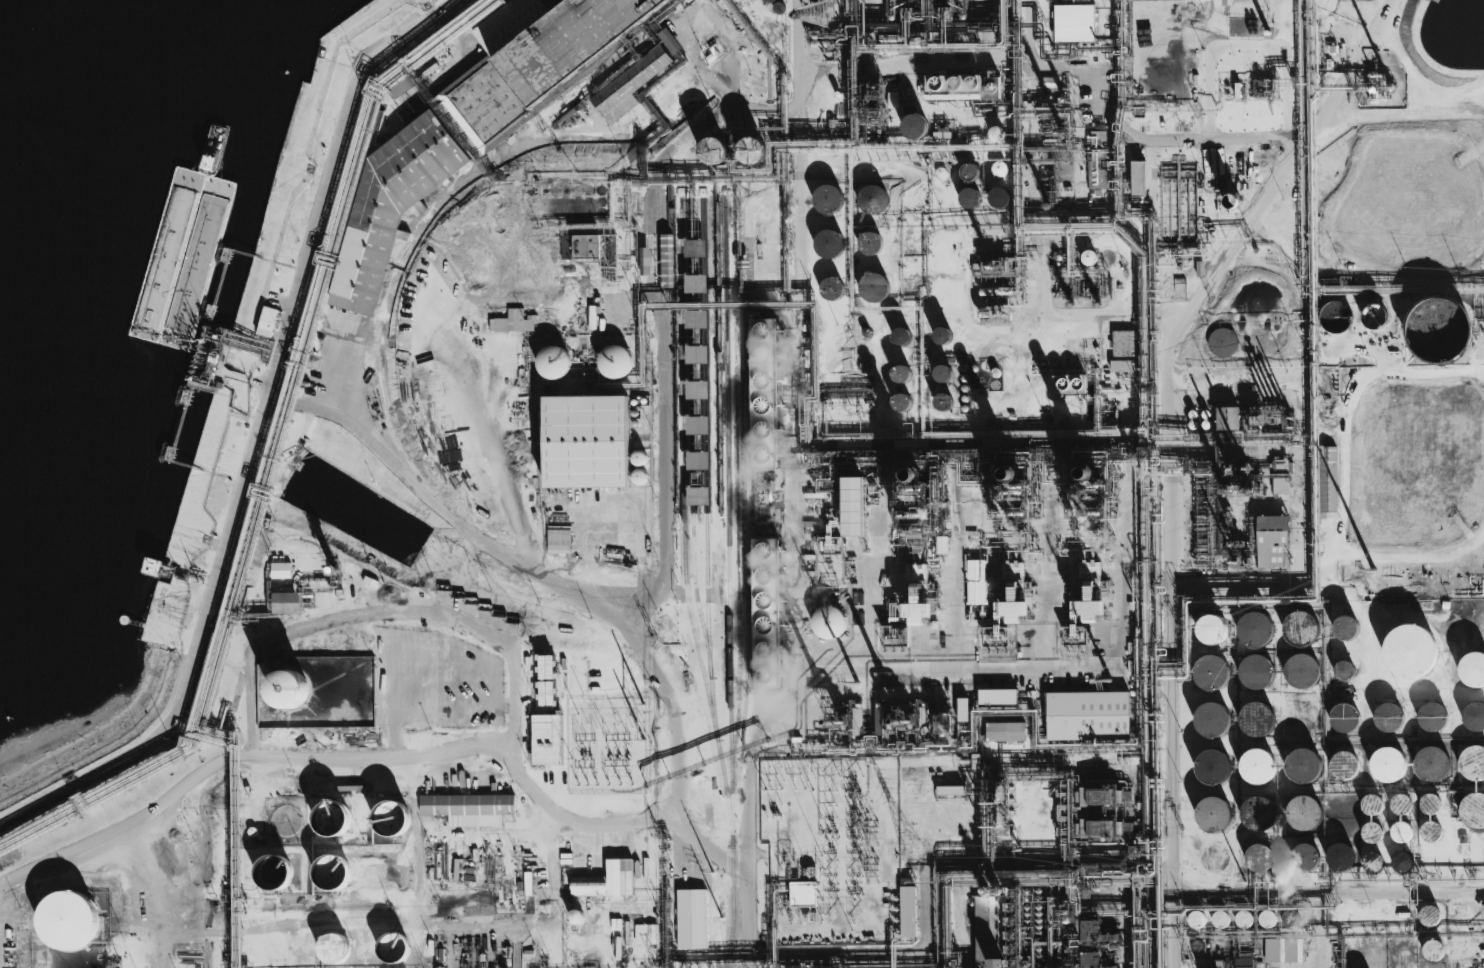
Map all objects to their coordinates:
building: (1074, 22)
building: (669, 40)
building: (537, 56)
river: (91, 77)
building: (632, 84)
building: (954, 87)
road: (1402, 104)
building: (915, 126)
building: (996, 134)
building: (1098, 140)
building: (714, 150)
building: (752, 150)
building: (999, 168)
building: (971, 172)
building: (1138, 178)
building: (827, 199)
building: (872, 199)
building: (392, 200)
building: (871, 243)
building: (829, 244)
building: (579, 246)
building: (1088, 257)
building: (645, 261)
building: (696, 283)
building: (873, 287)
road: (795, 297)
building: (362, 308)
building: (1376, 317)
building: (697, 319)
building: (267, 321)
building: (513, 322)
building: (1222, 342)
railway: (381, 347)
road: (662, 351)
building: (1124, 351)
building: (697, 354)
building: (615, 361)
building: (553, 362)
building: (1070, 384)
building: (697, 389)
building: (764, 391)
building: (902, 401)
building: (1228, 418)
building: (698, 425)
railway: (705, 435)
building: (586, 441)
road: (1167, 450)
road: (397, 460)
building: (698, 460)
railway: (691, 466)
chimney: (1089, 467)
chimney: (1012, 469)
chimney: (914, 470)
building: (1280, 477)
building: (1329, 481)
building: (699, 496)
building: (854, 506)
railway: (727, 518)
railway: (684, 520)
building: (559, 541)
building: (1273, 541)
building: (281, 570)
power tower: (1372, 572)
power plant: (930, 578)
road: (814, 581)
building: (976, 582)
building: (1090, 590)
building: (286, 603)
road: (223, 610)
building: (767, 610)
building: (1014, 610)
building: (916, 613)
building: (828, 622)
building: (1302, 627)
building: (1345, 627)
building: (1212, 629)
building: (1255, 629)
building: (1410, 650)
building: (546, 666)
building: (1301, 670)
building: (1472, 670)
building: (1211, 672)
building: (1255, 672)
power tower: (1110, 680)
power tower: (855, 682)
building: (288, 689)
building: (997, 696)
power tower: (643, 704)
building: (1088, 716)
building: (1474, 716)
building: (1344, 717)
building: (1432, 717)
chimney: (831, 719)
chimney: (900, 719)
building: (1212, 719)
building: (1256, 719)
building: (1005, 731)
building: (547, 739)
power substation: (608, 745)
road: (339, 756)
building: (1472, 762)
building: (1433, 763)
building: (1343, 764)
building: (1387, 764)
building: (1303, 765)
building: (1213, 766)
building: (1257, 766)
road: (836, 775)
road: (674, 802)
building: (1372, 804)
building: (1400, 804)
building: (330, 807)
storage tank: (330, 807)
building: (389, 808)
storage tank: (389, 808)
building: (469, 808)
building: (1472, 810)
building: (1257, 812)
building: (1304, 812)
building: (1213, 814)
building: (1401, 832)
power substation: (834, 850)
building: (1258, 857)
building: (1372, 862)
road: (424, 878)
building: (606, 880)
road: (1162, 887)
road: (157, 894)
building: (803, 894)
railway: (732, 906)
building: (64, 909)
storage tank: (64, 909)
building: (907, 911)
building: (1429, 915)
building: (576, 917)
building: (1195, 917)
building: (691, 919)
road: (316, 922)
road: (980, 929)
building: (990, 931)
building: (646, 934)
building: (333, 947)
building: (394, 947)
building: (1272, 950)
building: (1434, 950)

